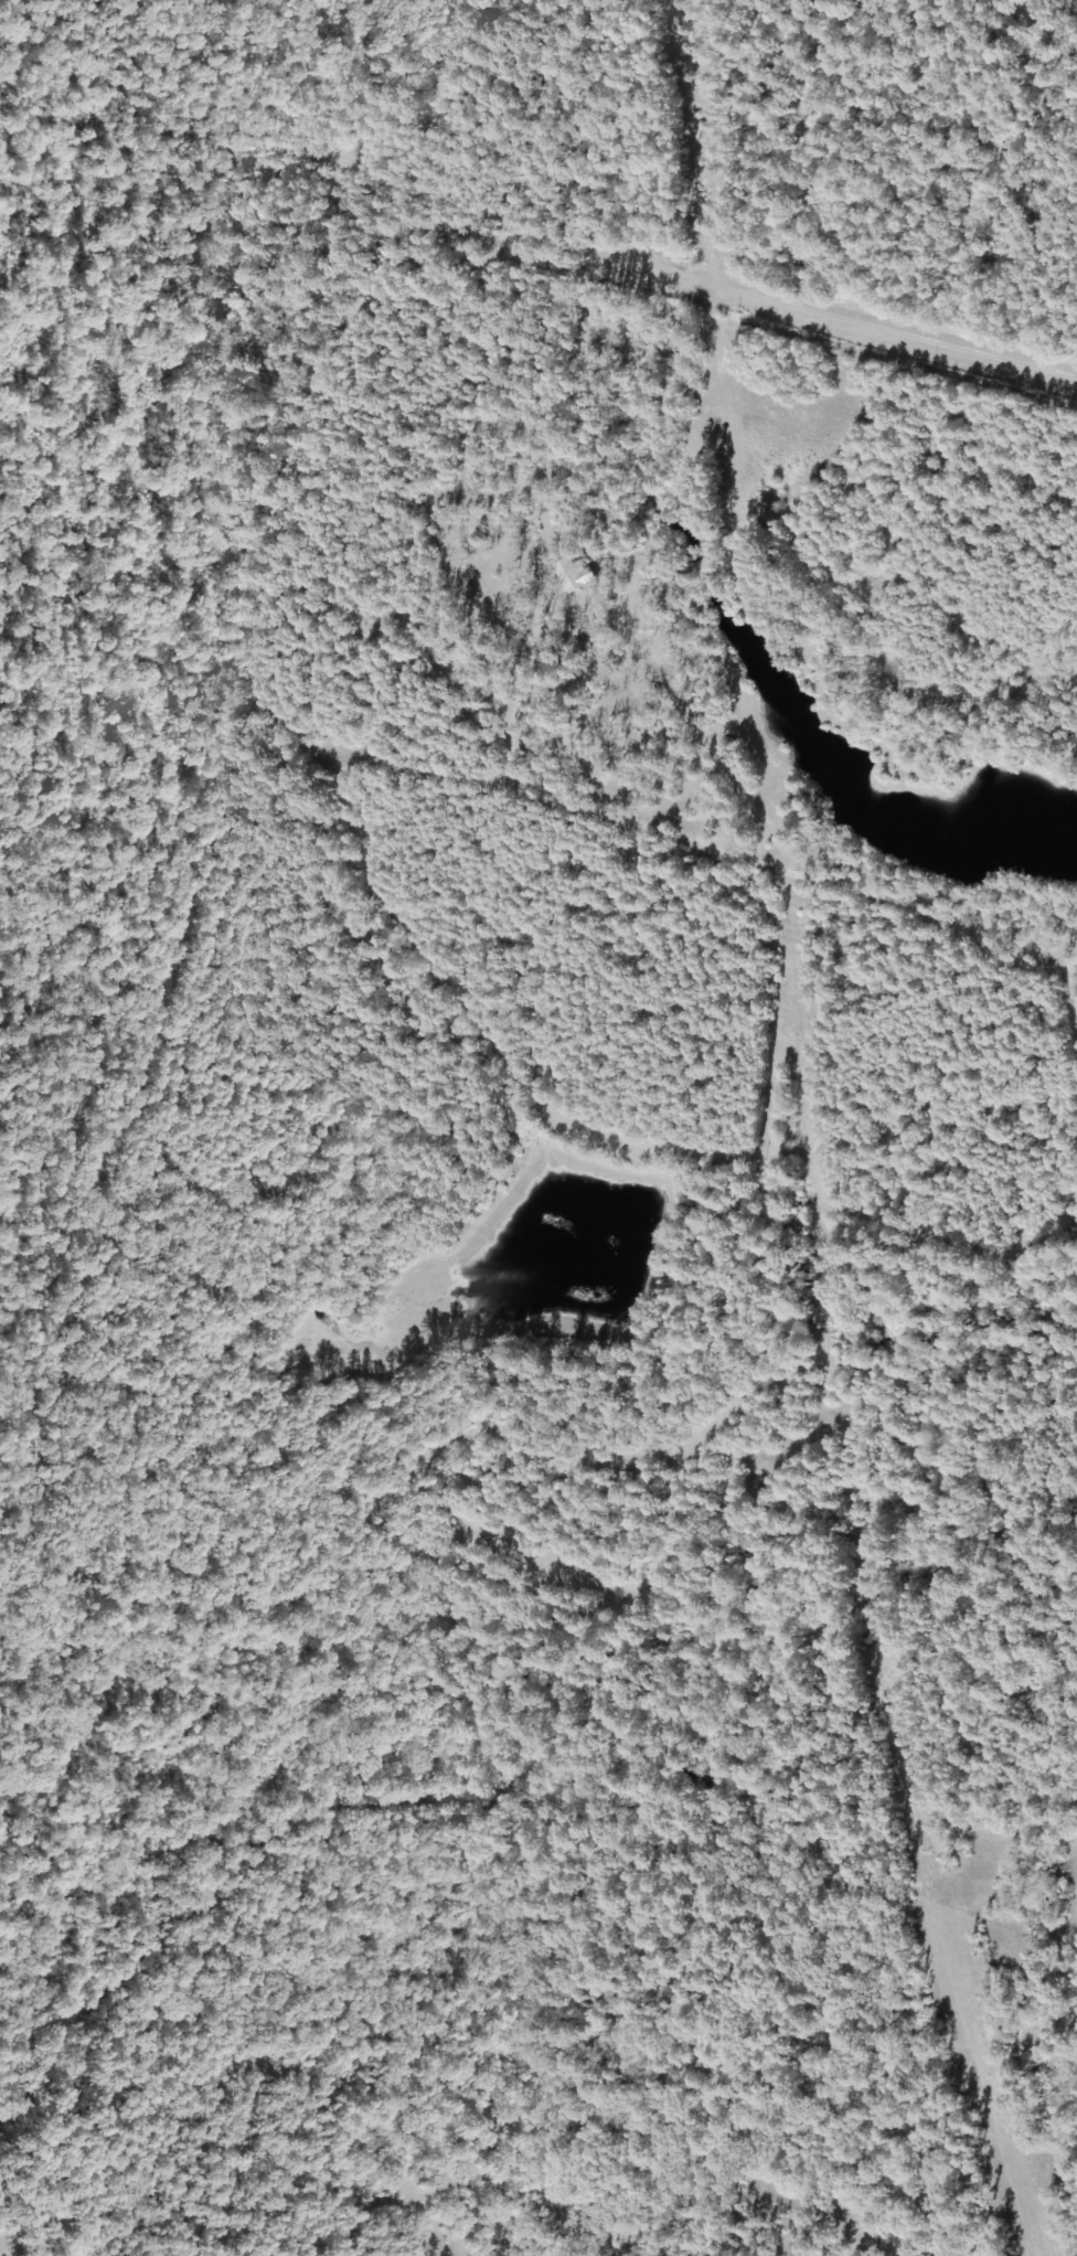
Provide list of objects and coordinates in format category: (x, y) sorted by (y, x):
road: (1047, 36)
road: (1024, 83)
road: (886, 296)
building: (561, 566)

